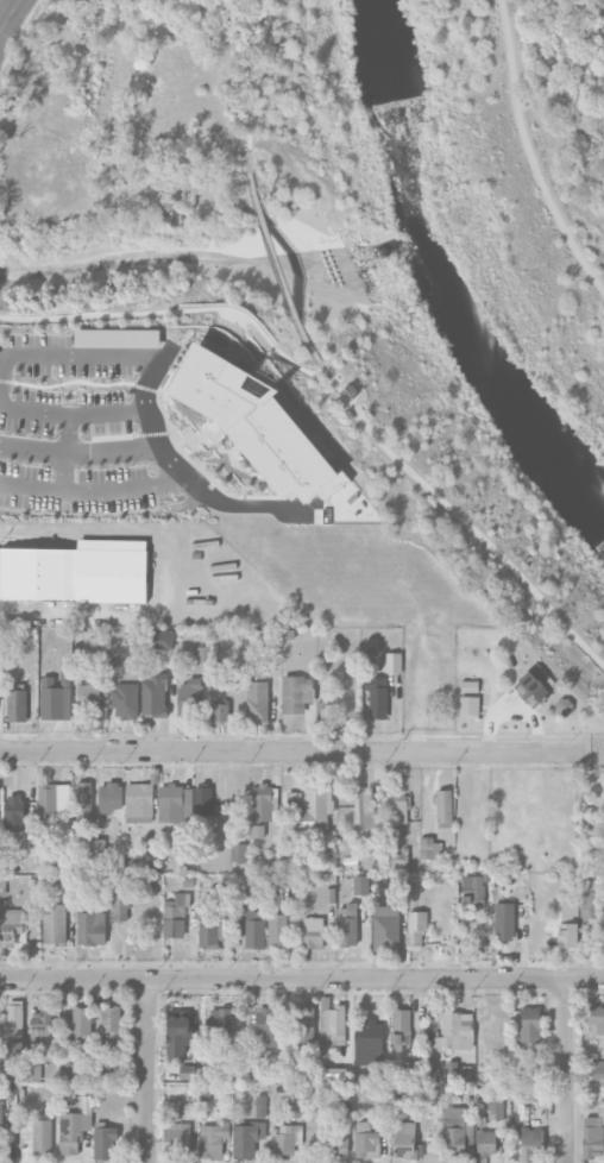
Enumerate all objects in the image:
road: (8, 14)
road: (253, 84)
park: (568, 95)
road: (529, 155)
road: (278, 268)
river: (445, 278)
park: (428, 284)
road: (176, 310)
building: (118, 338)
road: (2, 381)
building: (352, 390)
building: (256, 426)
road: (68, 452)
road: (77, 452)
road: (180, 473)
road: (92, 491)
road: (459, 515)
building: (76, 572)
road: (87, 616)
building: (161, 639)
building: (203, 654)
building: (394, 662)
building: (0, 671)
building: (535, 685)
building: (470, 686)
building: (57, 693)
building: (155, 693)
building: (296, 693)
building: (89, 694)
building: (377, 696)
building: (188, 697)
building: (126, 700)
building: (257, 700)
building: (17, 705)
building: (470, 705)
building: (326, 710)
building: (220, 712)
road: (294, 750)
building: (111, 797)
building: (54, 800)
building: (203, 801)
building: (260, 801)
building: (82, 803)
building: (139, 803)
building: (175, 805)
building: (312, 809)
building: (397, 809)
building: (445, 809)
building: (14, 812)
building: (366, 812)
building: (257, 831)
building: (95, 847)
building: (430, 849)
building: (238, 853)
building: (360, 885)
building: (474, 888)
building: (329, 895)
building: (120, 906)
building: (176, 907)
building: (504, 920)
building: (214, 922)
building: (54, 923)
building: (347, 924)
building: (568, 924)
building: (10, 925)
building: (416, 926)
building: (90, 928)
building: (254, 929)
building: (277, 929)
building: (386, 929)
building: (313, 932)
road: (302, 977)
building: (14, 1017)
building: (592, 1019)
building: (81, 1020)
building: (111, 1021)
building: (40, 1023)
building: (219, 1024)
building: (303, 1025)
building: (401, 1025)
building: (529, 1025)
building: (331, 1026)
building: (265, 1027)
building: (455, 1031)
building: (180, 1033)
building: (369, 1036)
building: (20, 1062)
road: (564, 1069)
building: (594, 1069)
road: (146, 1070)
building: (523, 1088)
building: (373, 1093)
building: (295, 1101)
building: (260, 1106)
building: (0, 1113)
building: (74, 1130)
building: (593, 1133)
building: (457, 1134)
building: (42, 1136)
building: (246, 1139)
building: (284, 1139)
building: (403, 1139)
building: (177, 1140)
building: (213, 1140)
building: (366, 1140)
building: (105, 1142)
building: (486, 1143)
building: (340, 1144)
building: (530, 1144)

